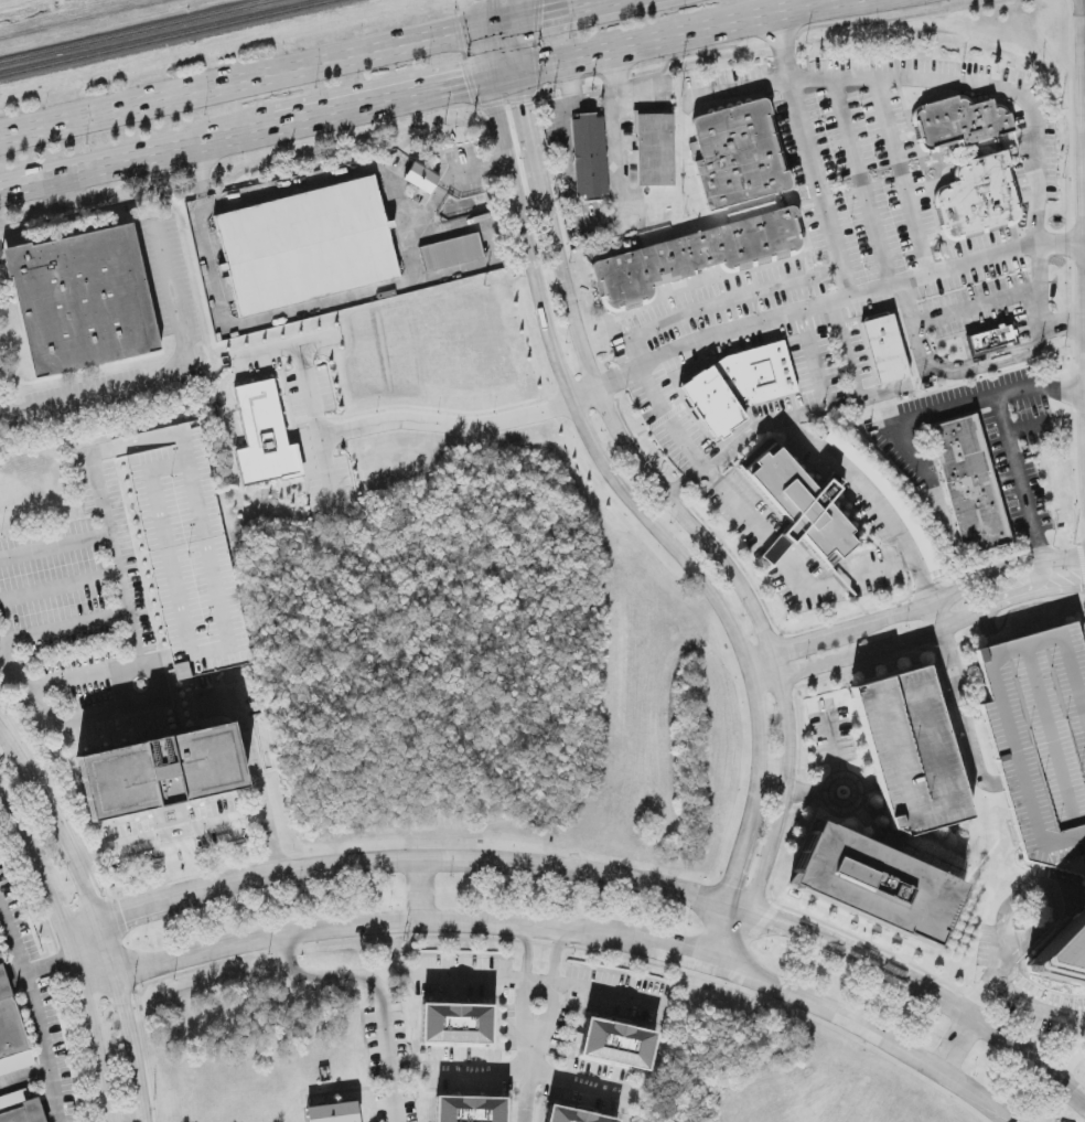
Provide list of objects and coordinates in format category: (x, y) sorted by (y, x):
road: (548, 8)
traffic signals: (514, 15)
traffic signals: (487, 22)
railway: (142, 32)
railway: (170, 39)
road: (516, 40)
road: (665, 40)
road: (490, 42)
road: (257, 74)
traffic signals: (520, 79)
traffic signals: (496, 85)
road: (737, 94)
road: (1023, 98)
road: (492, 106)
road: (388, 108)
building: (962, 122)
road: (616, 139)
building: (656, 147)
building: (741, 154)
road: (812, 154)
building: (591, 156)
road: (140, 163)
road: (902, 177)
building: (421, 179)
road: (862, 183)
building: (982, 195)
building: (752, 212)
building: (311, 243)
building: (451, 250)
building: (701, 255)
building: (85, 299)
road: (836, 301)
parking lot: (847, 302)
road: (721, 303)
road: (909, 303)
road: (978, 309)
road: (1064, 325)
building: (992, 341)
road: (318, 342)
road: (846, 348)
building: (889, 350)
road: (974, 372)
road: (157, 383)
building: (742, 386)
road: (583, 394)
road: (786, 419)
road: (917, 420)
road: (375, 423)
road: (1028, 428)
building: (265, 437)
road: (608, 469)
road: (330, 470)
road: (1018, 482)
building: (973, 484)
road: (873, 500)
building: (805, 510)
road: (689, 523)
road: (751, 526)
building: (186, 548)
road: (54, 549)
road: (115, 562)
road: (1043, 576)
road: (968, 588)
road: (1060, 589)
road: (60, 590)
road: (1025, 592)
road: (1025, 596)
road: (933, 620)
road: (63, 630)
road: (801, 647)
road: (885, 647)
road: (83, 678)
road: (9, 680)
road: (151, 704)
road: (947, 705)
road: (49, 716)
road: (960, 717)
road: (832, 740)
building: (1040, 742)
parking garage: (1040, 742)
building: (906, 755)
parking garage: (906, 755)
building: (161, 772)
road: (254, 772)
road: (864, 787)
road: (807, 794)
road: (847, 808)
road: (9, 816)
road: (166, 836)
road: (1040, 876)
road: (1040, 885)
building: (877, 888)
road: (674, 890)
road: (421, 891)
road: (729, 891)
road: (49, 893)
road: (135, 912)
road: (97, 916)
road: (495, 923)
building: (1065, 947)
road: (527, 950)
road: (555, 953)
road: (47, 964)
road: (541, 983)
road: (987, 986)
road: (379, 991)
road: (1034, 1009)
road: (34, 1017)
building: (455, 1024)
building: (10, 1032)
road: (98, 1036)
road: (531, 1041)
building: (617, 1044)
road: (955, 1046)
road: (922, 1062)
road: (529, 1072)
road: (23, 1080)
road: (528, 1081)
road: (959, 1086)
building: (20, 1108)
building: (470, 1109)
road: (997, 1109)
building: (332, 1113)
building: (574, 1116)

